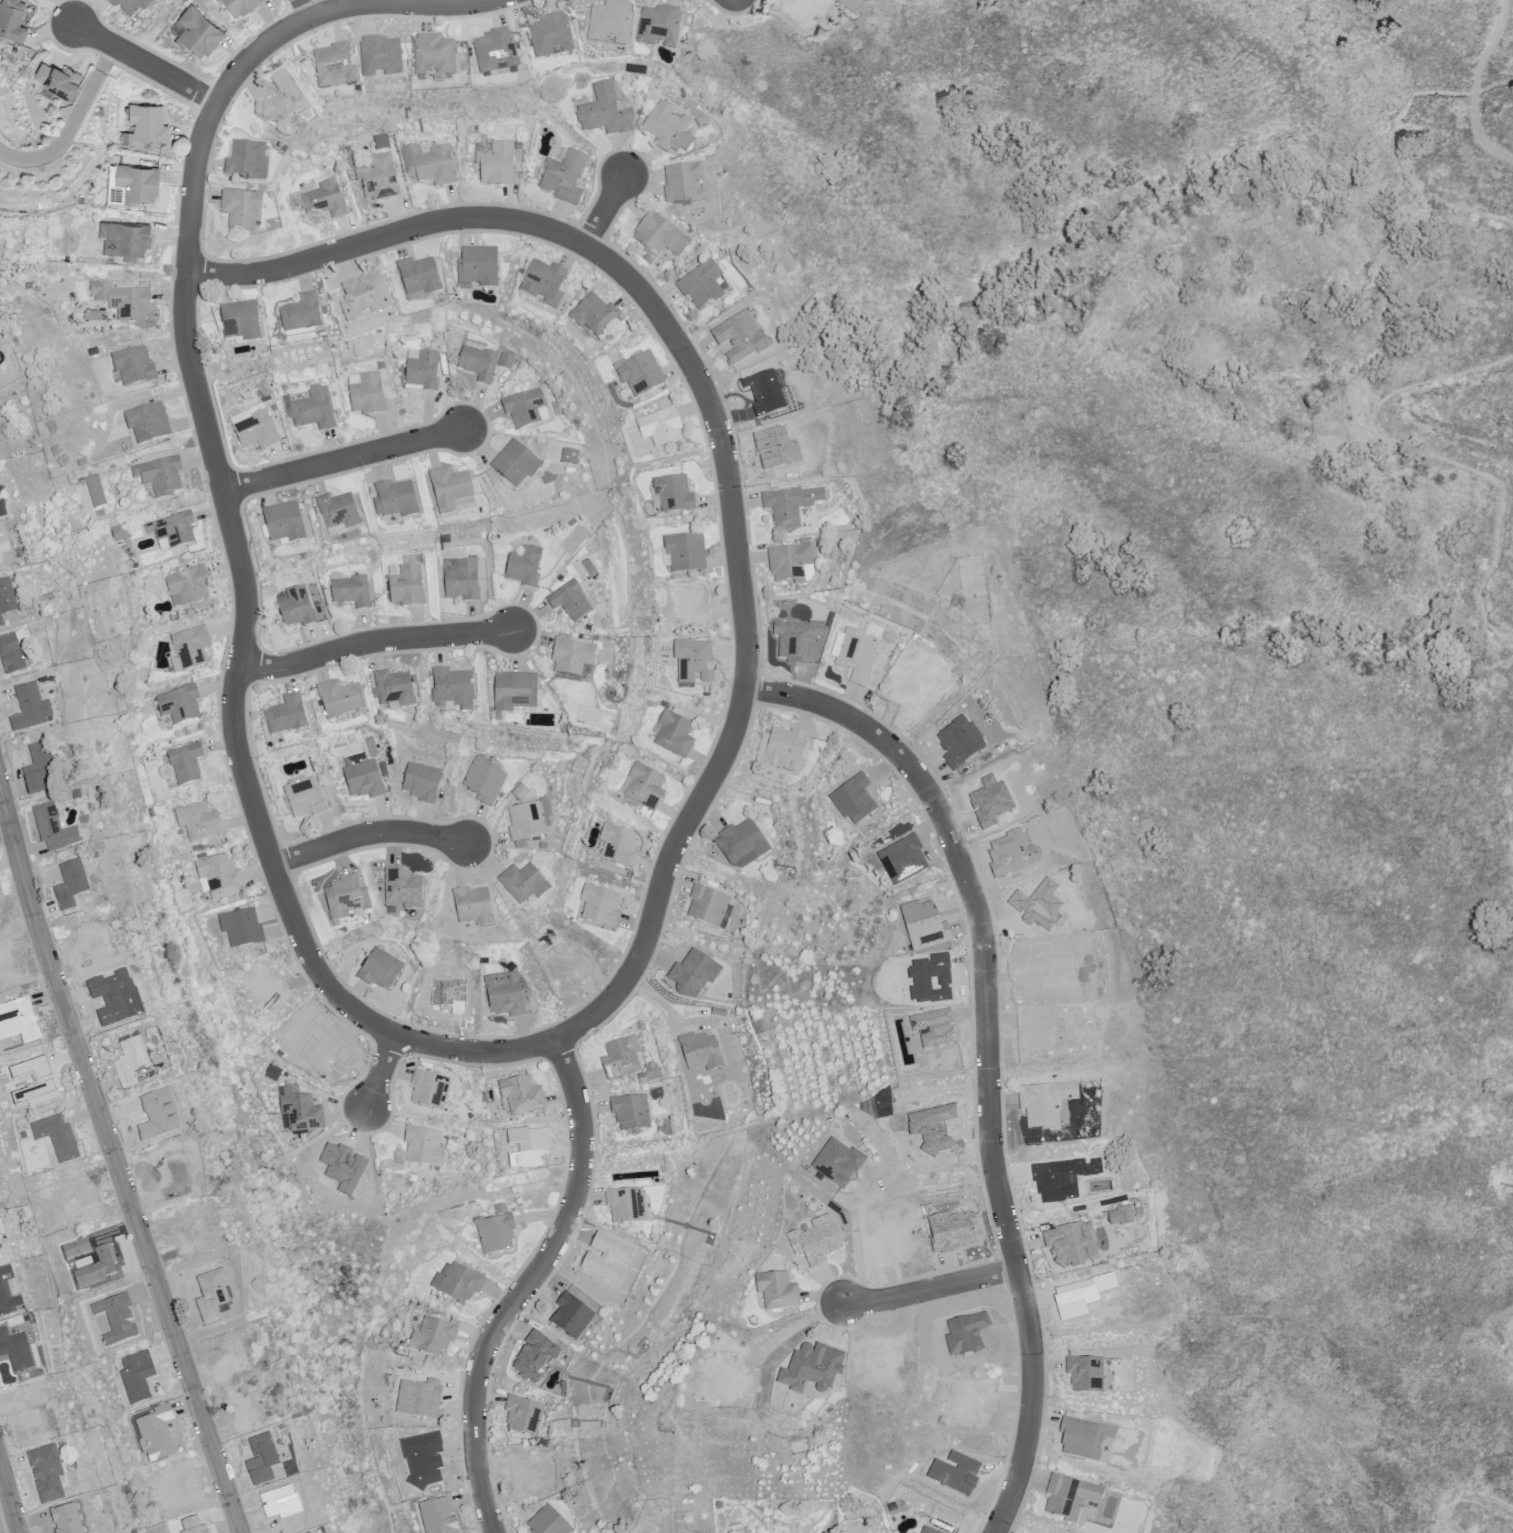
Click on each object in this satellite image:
building: (128, 5)
building: (238, 6)
road: (306, 9)
building: (803, 10)
building: (11, 20)
building: (609, 24)
building: (659, 27)
building: (198, 33)
building: (550, 36)
building: (496, 51)
building: (434, 56)
building: (380, 57)
road: (147, 63)
building: (334, 65)
building: (58, 80)
road: (1474, 85)
building: (291, 94)
building: (605, 111)
road: (73, 122)
building: (145, 126)
building: (668, 128)
building: (381, 140)
building: (518, 145)
road: (1509, 147)
building: (247, 160)
building: (430, 163)
building: (497, 164)
building: (564, 176)
building: (378, 177)
building: (684, 182)
building: (136, 183)
building: (113, 195)
building: (324, 199)
building: (240, 209)
road: (607, 209)
building: (659, 237)
building: (125, 240)
building: (478, 267)
building: (419, 276)
building: (545, 283)
building: (701, 284)
building: (363, 296)
building: (123, 300)
building: (301, 314)
building: (594, 315)
building: (240, 322)
building: (735, 335)
building: (505, 360)
building: (478, 363)
building: (381, 364)
building: (133, 365)
building: (422, 369)
building: (639, 373)
building: (366, 393)
building: (765, 393)
building: (265, 396)
building: (524, 407)
building: (313, 409)
building: (148, 422)
building: (255, 426)
building: (660, 427)
road: (724, 443)
building: (780, 453)
building: (570, 457)
road: (345, 459)
building: (82, 461)
building: (516, 464)
building: (160, 475)
building: (450, 488)
building: (95, 490)
building: (673, 494)
building: (398, 500)
building: (790, 505)
building: (338, 513)
road: (233, 522)
building: (285, 523)
building: (116, 531)
building: (174, 531)
building: (6, 546)
building: (686, 553)
building: (790, 562)
building: (525, 567)
building: (462, 578)
building: (188, 585)
building: (406, 585)
building: (352, 591)
building: (7, 595)
building: (571, 600)
building: (691, 602)
building: (297, 608)
building: (0, 622)
road: (376, 641)
building: (192, 648)
building: (13, 655)
building: (572, 655)
building: (859, 657)
building: (692, 660)
building: (394, 689)
building: (453, 689)
building: (515, 692)
building: (339, 699)
building: (179, 704)
building: (27, 710)
building: (286, 715)
building: (674, 734)
building: (959, 742)
building: (786, 752)
building: (186, 764)
building: (39, 768)
building: (363, 777)
building: (484, 782)
building: (422, 783)
building: (646, 787)
building: (520, 792)
building: (305, 798)
building: (526, 820)
building: (199, 821)
road: (5, 829)
building: (53, 829)
road: (369, 834)
building: (740, 845)
building: (618, 846)
building: (220, 876)
building: (70, 883)
building: (524, 883)
building: (403, 890)
building: (346, 897)
building: (708, 905)
building: (601, 906)
building: (474, 907)
building: (242, 928)
building: (568, 965)
building: (380, 968)
building: (265, 985)
building: (507, 994)
building: (450, 996)
building: (701, 1052)
road: (989, 1052)
building: (328, 1053)
building: (621, 1056)
building: (131, 1061)
road: (384, 1070)
building: (650, 1072)
building: (429, 1089)
building: (522, 1095)
building: (1049, 1104)
building: (631, 1111)
building: (302, 1112)
building: (61, 1138)
building: (424, 1146)
road: (115, 1161)
building: (345, 1171)
building: (628, 1206)
building: (496, 1230)
building: (950, 1231)
building: (1073, 1243)
road: (857, 1247)
building: (458, 1283)
road: (529, 1284)
road: (932, 1289)
building: (777, 1290)
building: (433, 1336)
building: (19, 1351)
building: (1088, 1373)
building: (523, 1415)
building: (1081, 1437)
building: (262, 1459)
road: (11, 1492)
building: (1072, 1496)
building: (549, 1522)

